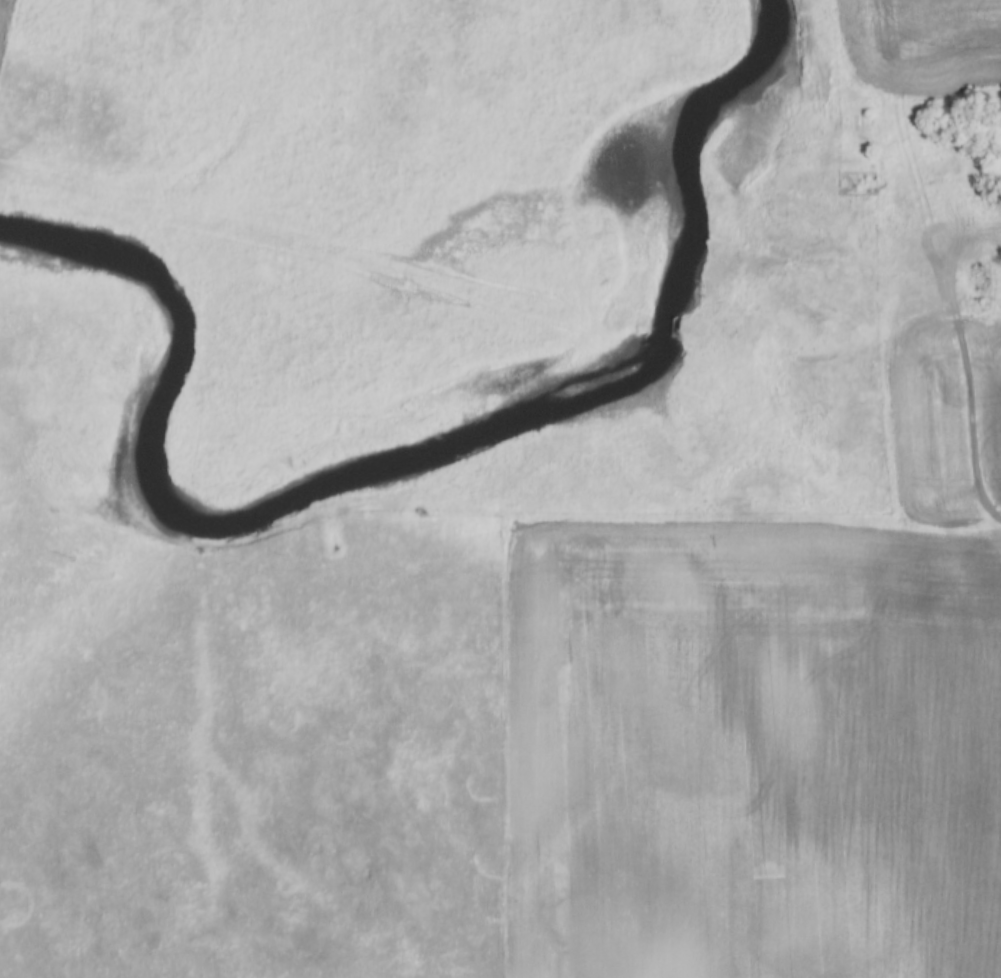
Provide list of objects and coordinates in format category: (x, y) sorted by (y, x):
road: (981, 401)
river: (435, 437)

